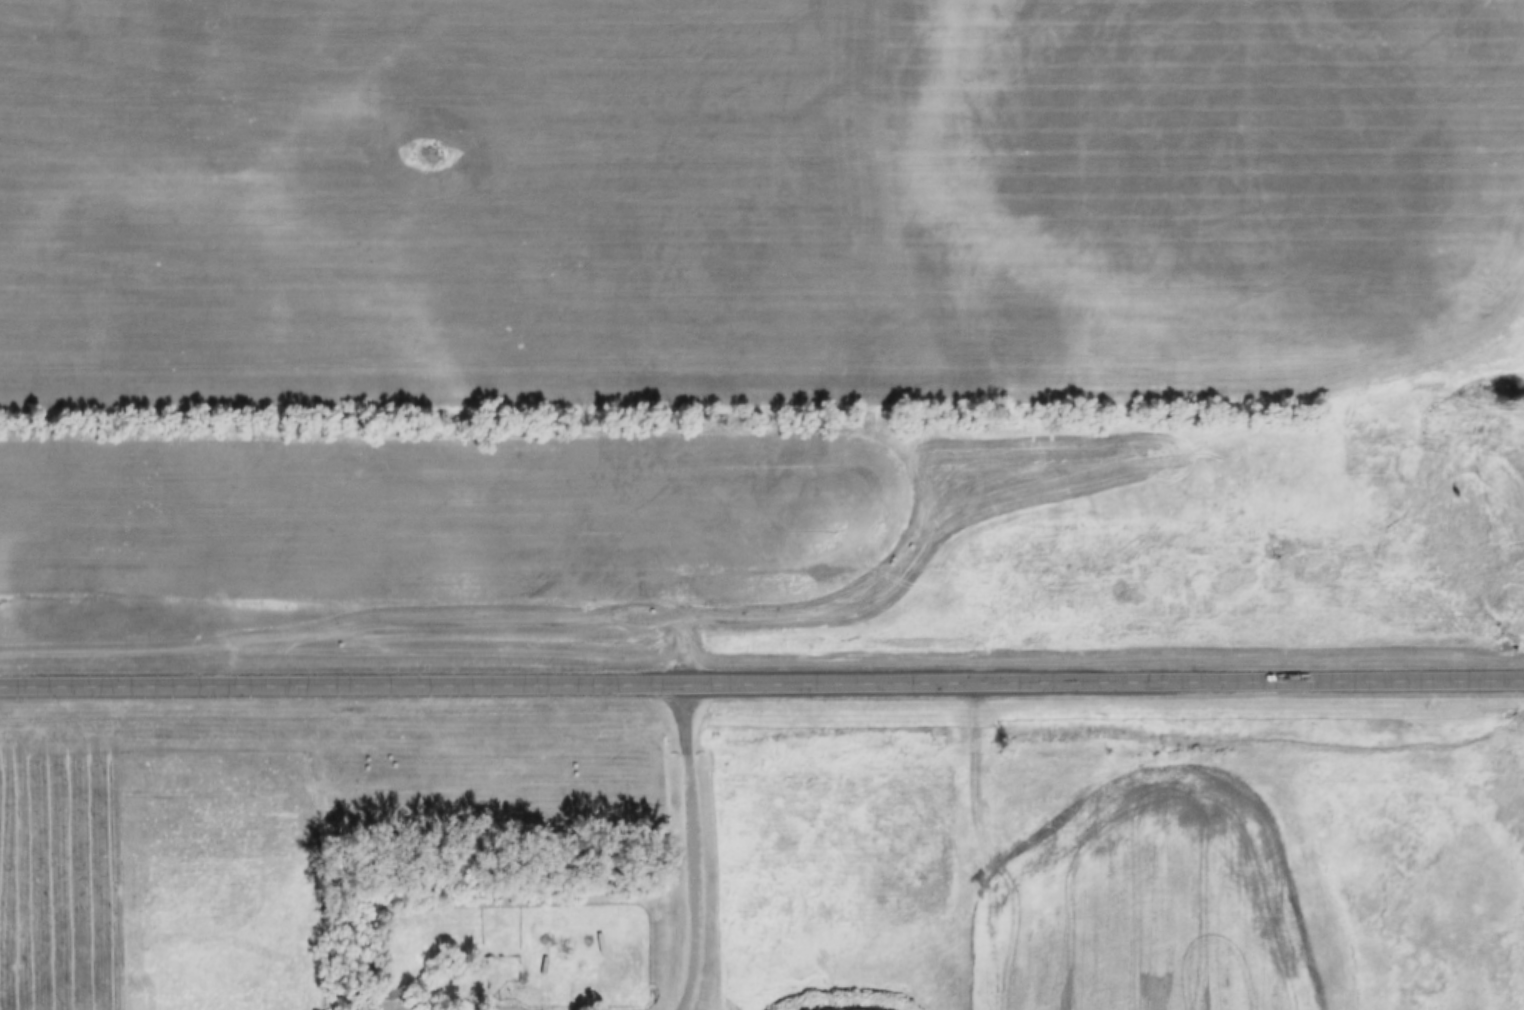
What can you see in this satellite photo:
road: (761, 682)
road: (697, 847)

